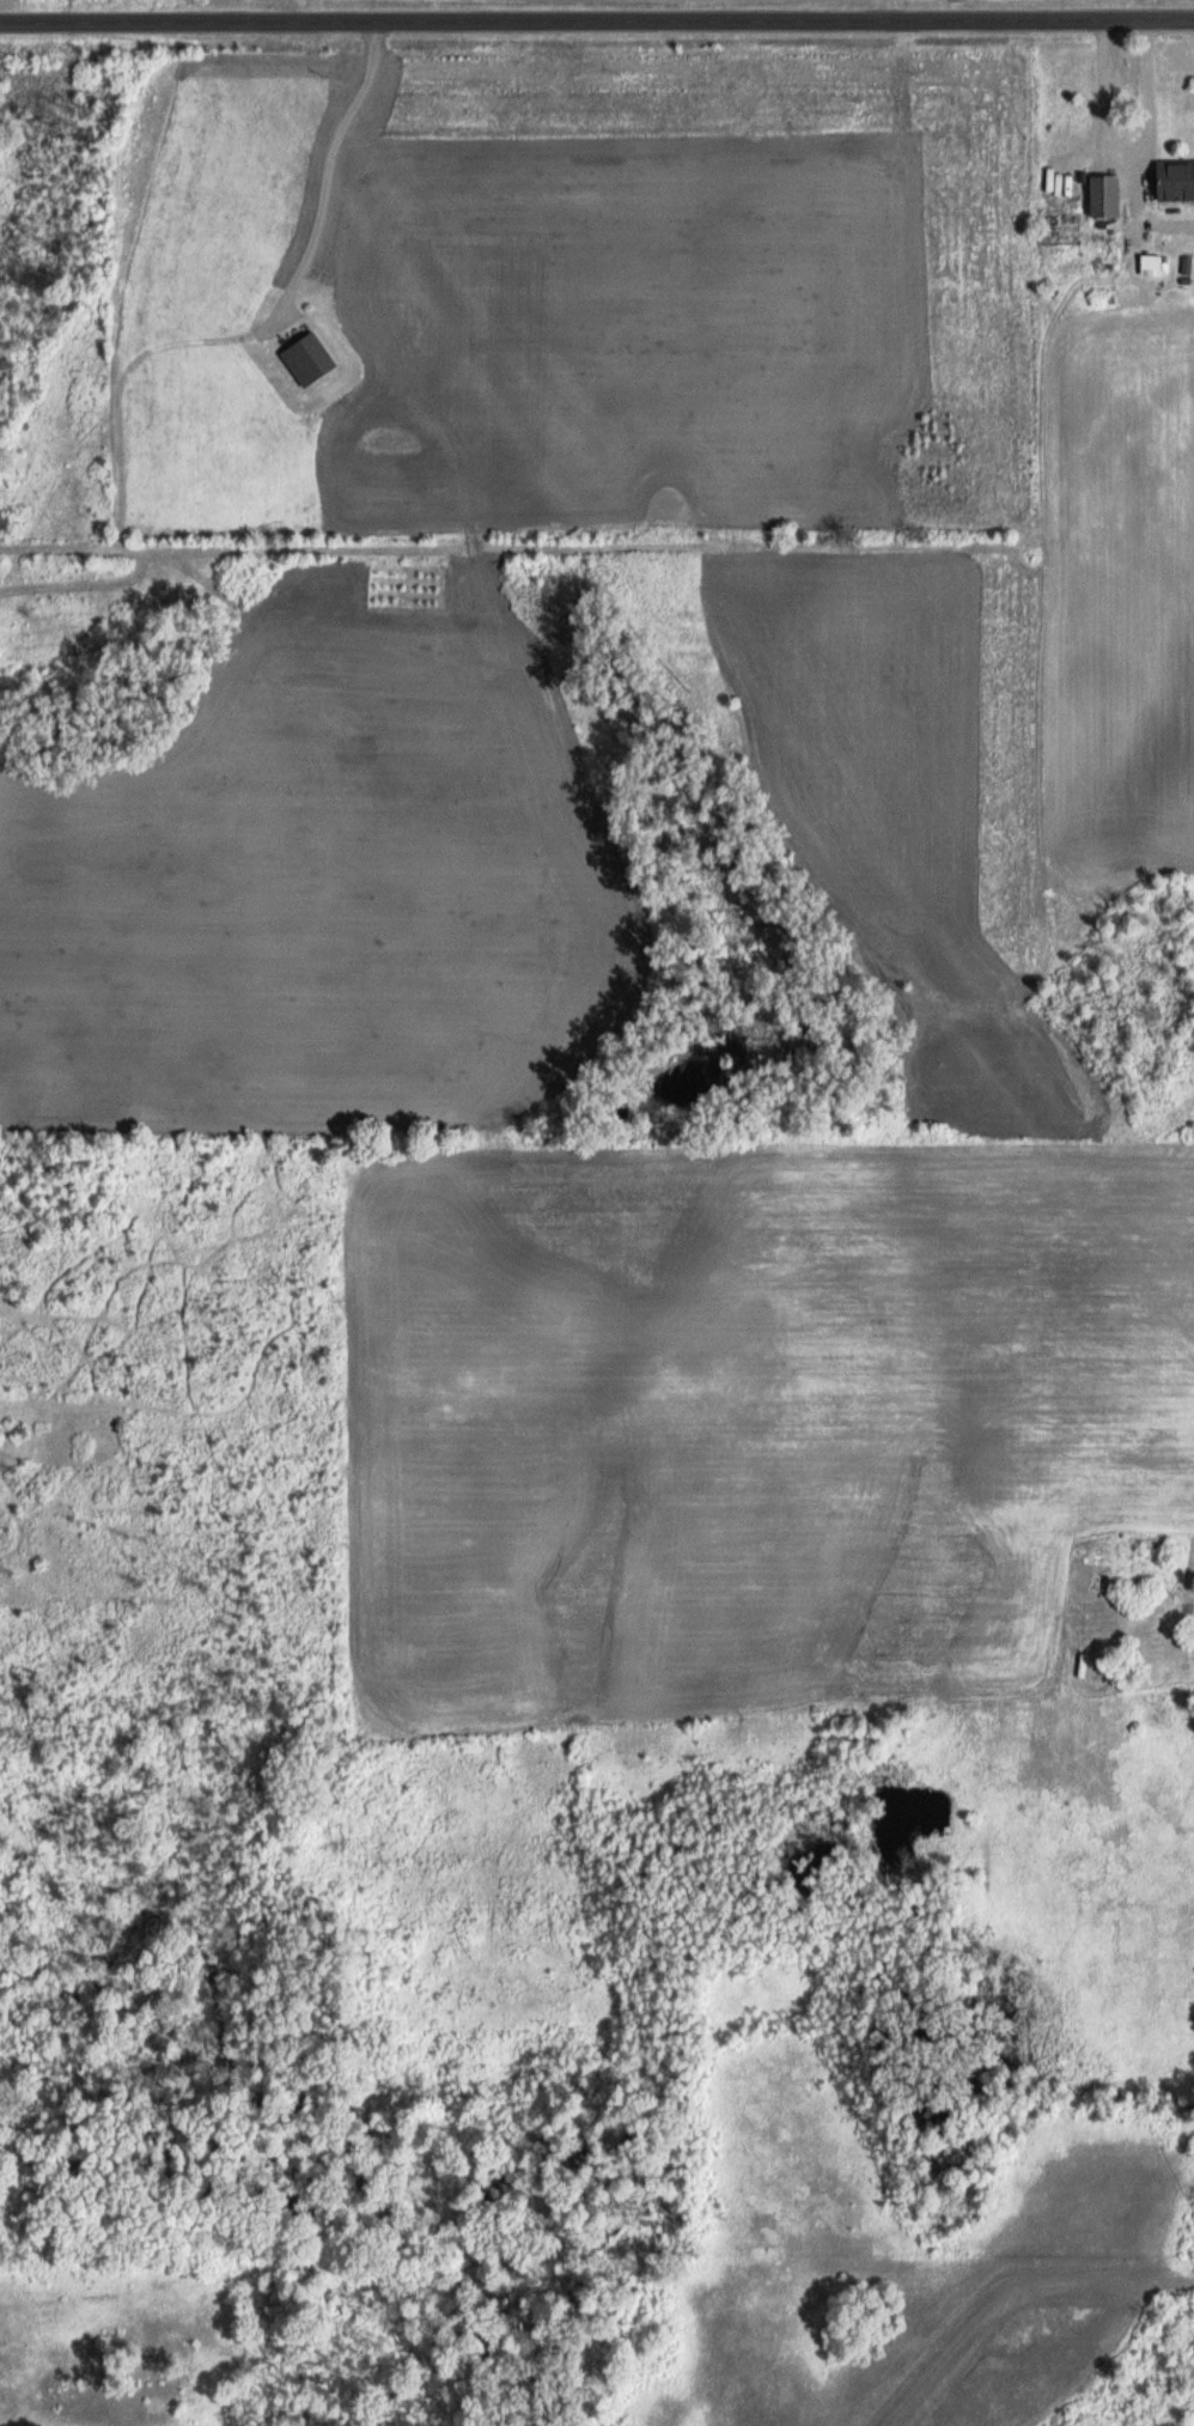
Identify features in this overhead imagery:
road: (596, 25)
road: (1128, 153)
building: (1176, 183)
building: (1107, 199)
building: (310, 363)
road: (1027, 2325)

